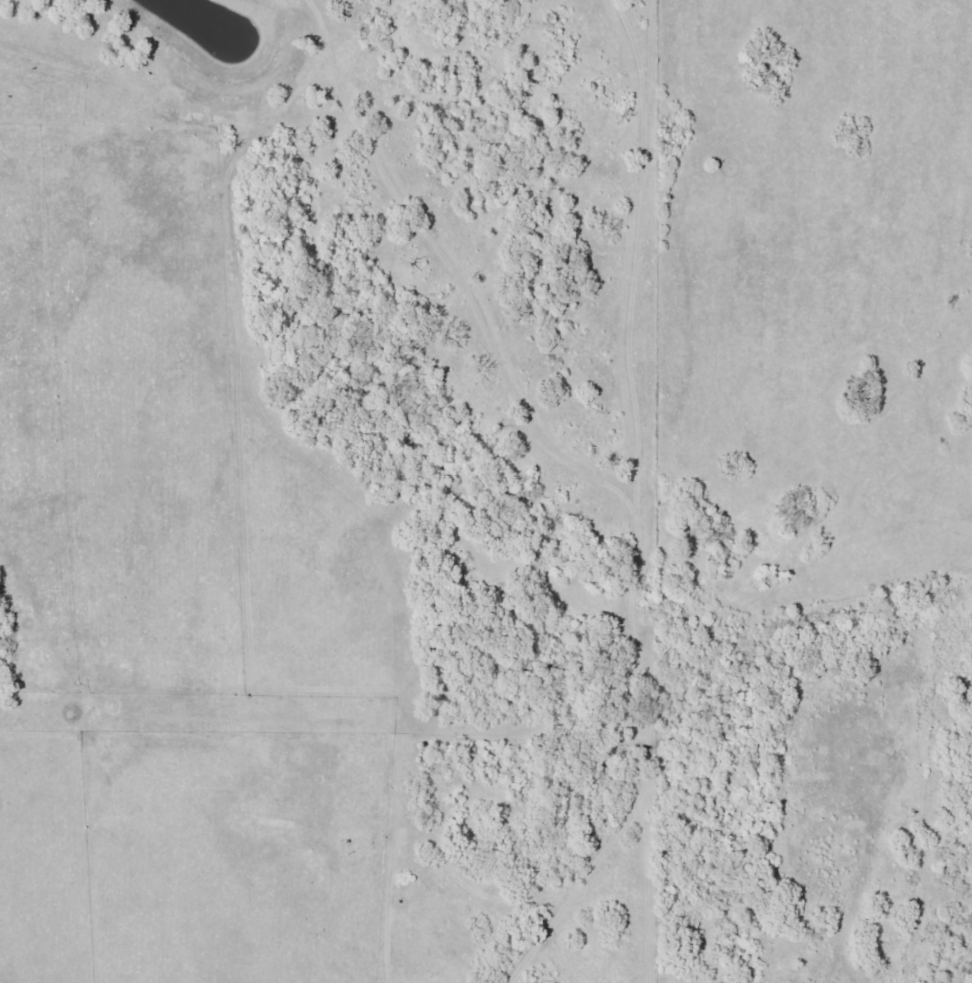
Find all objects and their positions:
road: (970, 27)

